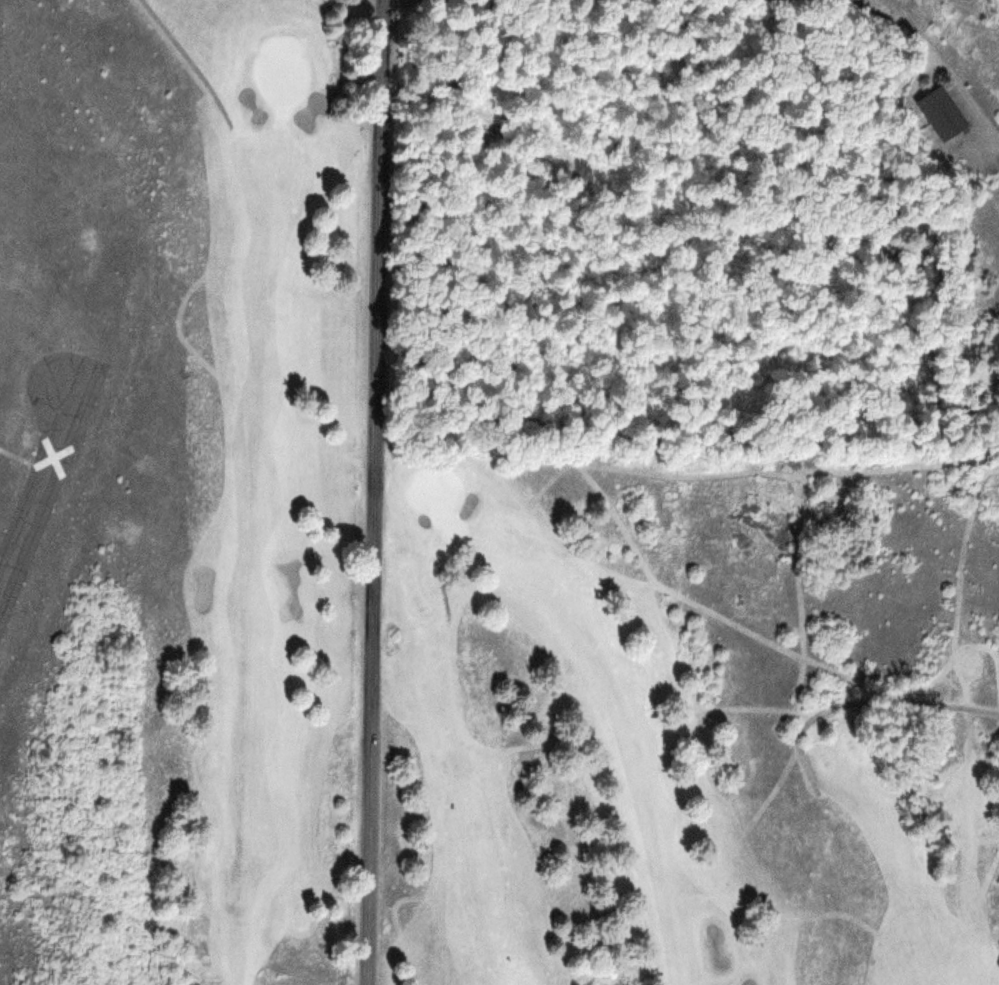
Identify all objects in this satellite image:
road: (931, 48)
road: (188, 58)
building: (944, 113)
airport runway: (47, 483)
park: (580, 491)
road: (378, 492)
road: (442, 585)
road: (864, 701)

